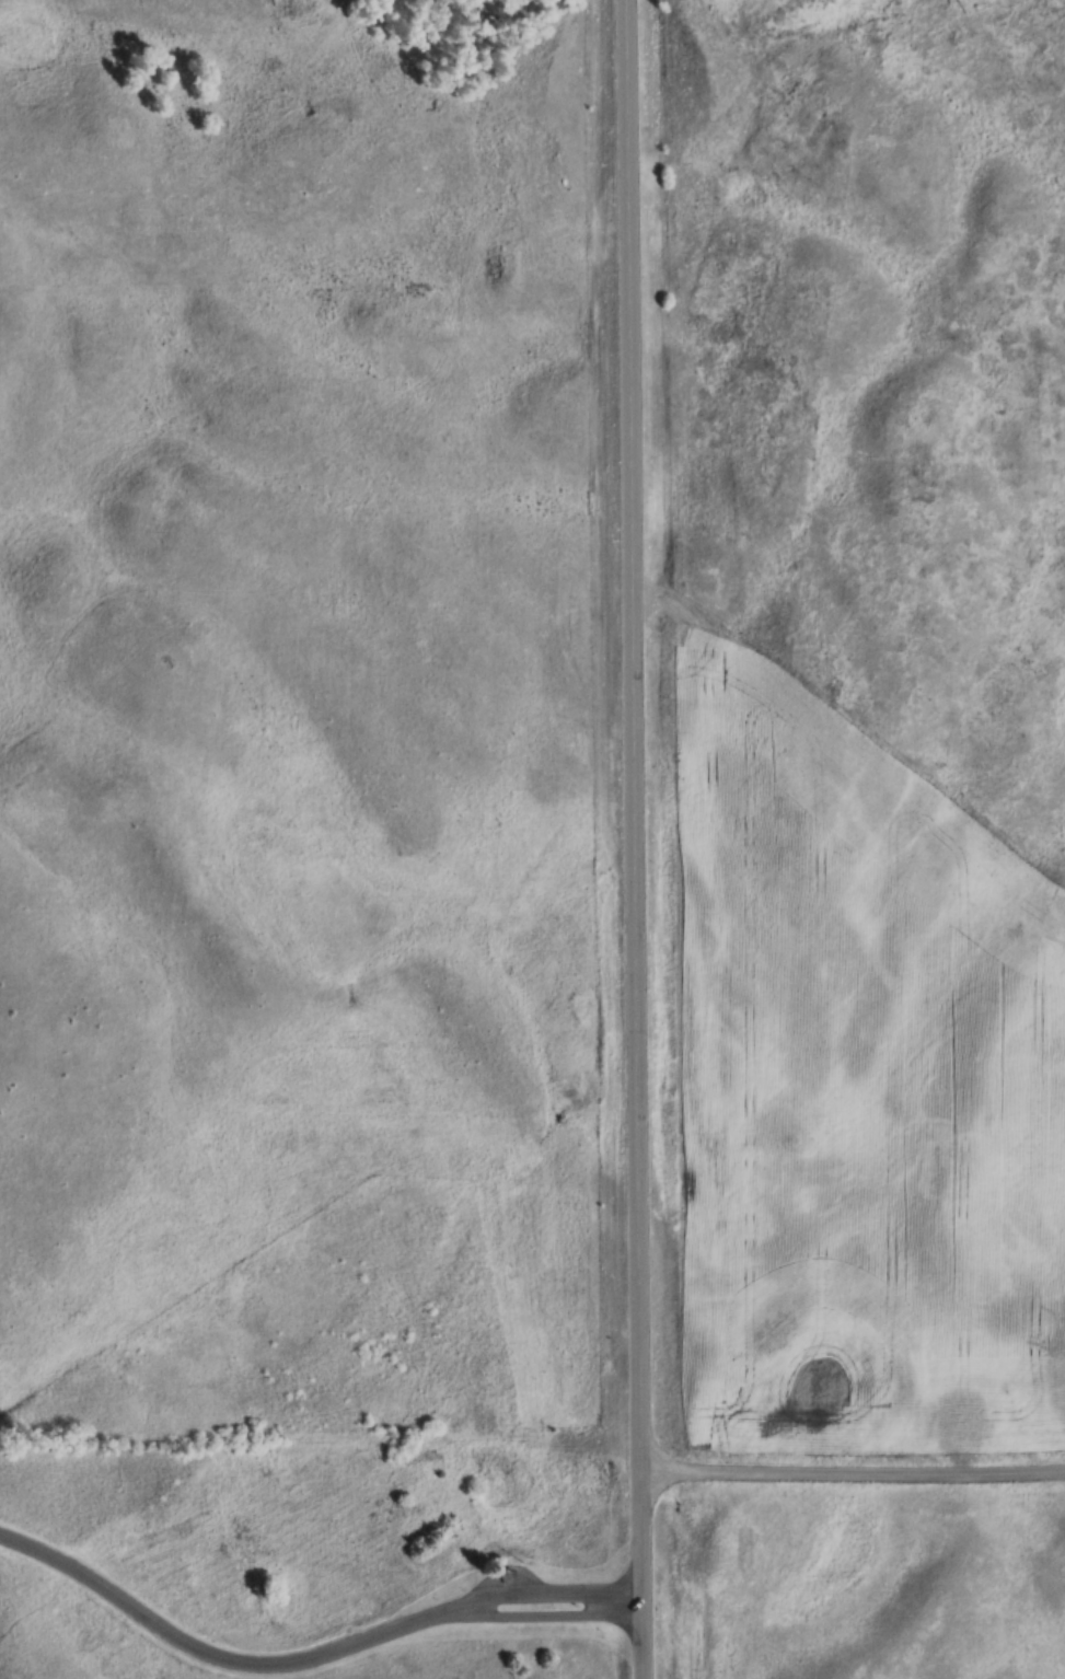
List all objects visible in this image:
road: (645, 838)
road: (858, 1475)
park: (314, 1556)
road: (312, 1663)

